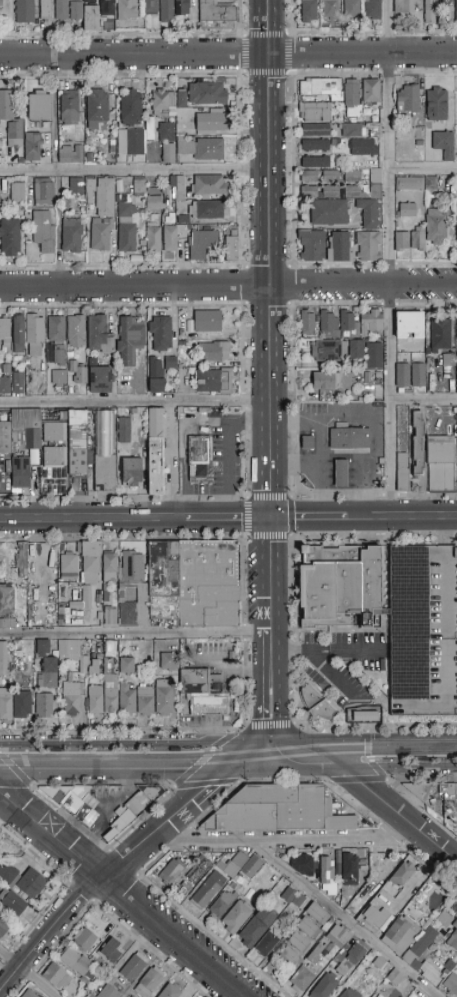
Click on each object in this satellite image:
building: (90, 1)
building: (446, 1)
building: (150, 7)
building: (404, 7)
building: (45, 9)
building: (330, 9)
building: (351, 9)
building: (372, 9)
building: (61, 10)
building: (127, 10)
building: (174, 10)
building: (24, 11)
building: (309, 11)
building: (429, 11)
building: (456, 11)
building: (82, 15)
building: (96, 15)
building: (216, 16)
road: (425, 31)
road: (319, 32)
road: (387, 32)
road: (228, 55)
building: (319, 87)
building: (371, 91)
building: (207, 93)
building: (351, 98)
building: (407, 99)
building: (167, 102)
building: (436, 103)
building: (39, 106)
building: (131, 107)
building: (69, 109)
building: (97, 109)
building: (315, 112)
building: (11, 118)
building: (211, 121)
building: (316, 130)
building: (353, 130)
building: (130, 141)
building: (167, 141)
building: (443, 144)
building: (315, 145)
building: (33, 147)
building: (363, 147)
building: (202, 148)
building: (70, 154)
building: (315, 162)
road: (423, 166)
road: (135, 171)
building: (352, 176)
building: (309, 177)
building: (331, 177)
building: (416, 183)
building: (77, 185)
building: (210, 185)
building: (139, 186)
building: (179, 188)
building: (320, 191)
building: (351, 191)
building: (17, 192)
building: (100, 196)
building: (371, 202)
building: (154, 203)
building: (207, 210)
building: (407, 210)
building: (329, 212)
building: (43, 215)
building: (456, 222)
building: (126, 223)
building: (424, 233)
building: (101, 234)
building: (71, 235)
building: (10, 238)
building: (170, 238)
building: (153, 239)
building: (202, 244)
building: (311, 246)
building: (231, 247)
building: (340, 247)
building: (368, 247)
road: (391, 258)
road: (134, 287)
road: (362, 287)
building: (207, 321)
building: (307, 322)
building: (361, 322)
building: (329, 324)
building: (409, 326)
building: (5, 331)
building: (456, 331)
building: (76, 332)
building: (19, 334)
building: (161, 334)
building: (440, 334)
building: (34, 335)
building: (98, 335)
building: (55, 339)
building: (130, 339)
building: (336, 350)
building: (217, 351)
building: (374, 356)
building: (447, 359)
building: (167, 362)
building: (77, 374)
building: (410, 375)
building: (156, 376)
building: (58, 377)
road: (271, 377)
building: (456, 377)
building: (101, 379)
building: (326, 380)
building: (15, 381)
building: (213, 381)
building: (3, 383)
road: (424, 396)
road: (136, 401)
building: (74, 415)
road: (263, 417)
building: (124, 430)
building: (53, 432)
building: (5, 437)
building: (349, 438)
building: (306, 443)
building: (418, 444)
building: (78, 450)
building: (105, 451)
building: (155, 451)
building: (53, 457)
building: (199, 459)
building: (440, 464)
building: (402, 467)
road: (323, 468)
building: (20, 472)
building: (131, 472)
building: (341, 473)
building: (456, 479)
road: (401, 517)
road: (309, 518)
road: (95, 519)
road: (232, 519)
traffic signals: (273, 519)
building: (22, 560)
building: (90, 562)
building: (109, 565)
building: (68, 567)
building: (132, 567)
building: (194, 584)
building: (339, 585)
building: (76, 586)
building: (121, 591)
building: (86, 594)
building: (6, 600)
building: (128, 614)
building: (110, 617)
building: (15, 621)
building: (424, 631)
road: (137, 632)
building: (19, 645)
building: (43, 647)
building: (111, 647)
road: (328, 648)
building: (16, 652)
building: (72, 654)
building: (3, 659)
building: (169, 661)
building: (126, 666)
building: (95, 667)
building: (16, 669)
building: (48, 673)
road: (331, 675)
building: (200, 682)
building: (71, 693)
building: (111, 694)
building: (164, 698)
building: (95, 700)
building: (127, 700)
building: (145, 701)
building: (316, 703)
building: (6, 704)
building: (22, 704)
building: (209, 704)
building: (44, 705)
building: (364, 714)
road: (384, 749)
traffic signals: (312, 752)
road: (293, 753)
railway: (104, 754)
railway: (228, 755)
traffic signals: (275, 755)
road: (260, 756)
railway: (415, 756)
traffic signals: (246, 758)
road: (123, 762)
railway: (228, 764)
building: (419, 790)
building: (448, 792)
building: (142, 799)
building: (79, 805)
road: (384, 806)
building: (277, 810)
building: (124, 812)
road: (281, 839)
building: (338, 862)
road: (112, 864)
building: (233, 865)
building: (303, 865)
building: (251, 866)
building: (198, 870)
building: (350, 870)
building: (172, 871)
building: (7, 874)
building: (317, 874)
building: (402, 874)
building: (327, 876)
building: (31, 883)
building: (185, 883)
building: (233, 885)
building: (428, 889)
building: (208, 890)
building: (249, 894)
building: (289, 895)
road: (123, 896)
building: (381, 900)
building: (299, 901)
building: (12, 902)
building: (223, 904)
building: (317, 914)
building: (376, 916)
building: (237, 917)
building: (444, 919)
road: (341, 921)
building: (427, 923)
building: (4, 926)
building: (399, 926)
building: (255, 928)
building: (308, 928)
building: (338, 936)
building: (453, 937)
building: (269, 940)
building: (86, 941)
building: (299, 942)
building: (321, 950)
building: (109, 951)
building: (355, 953)
building: (414, 953)
building: (291, 958)
building: (313, 958)
building: (77, 963)
building: (134, 966)
building: (449, 966)
building: (341, 970)
road: (29, 972)
building: (56, 976)
building: (302, 978)
building: (149, 982)
building: (451, 984)
building: (325, 986)
building: (170, 991)
building: (109, 992)
building: (29, 993)
building: (350, 993)
building: (128, 996)
building: (132, 996)

